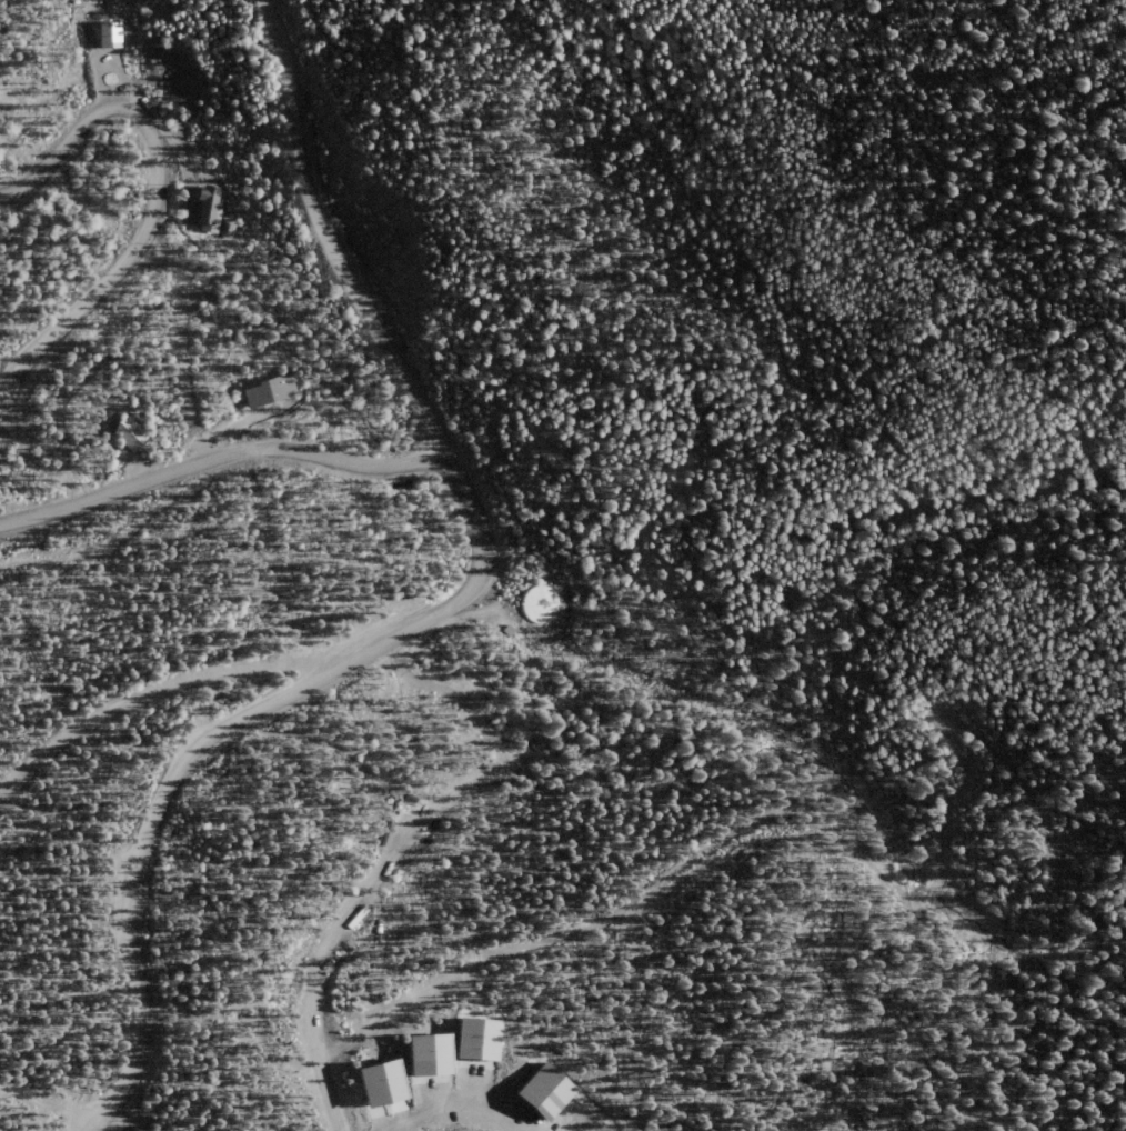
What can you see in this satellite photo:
building: (109, 38)
road: (154, 198)
building: (204, 209)
road: (328, 239)
building: (270, 391)
building: (130, 433)
road: (219, 458)
building: (539, 602)
storage tank: (539, 602)
building: (507, 630)
road: (161, 689)
road: (455, 699)
road: (218, 733)
road: (338, 927)
building: (480, 1039)
building: (431, 1054)
building: (382, 1084)
building: (546, 1092)
road: (452, 1107)

